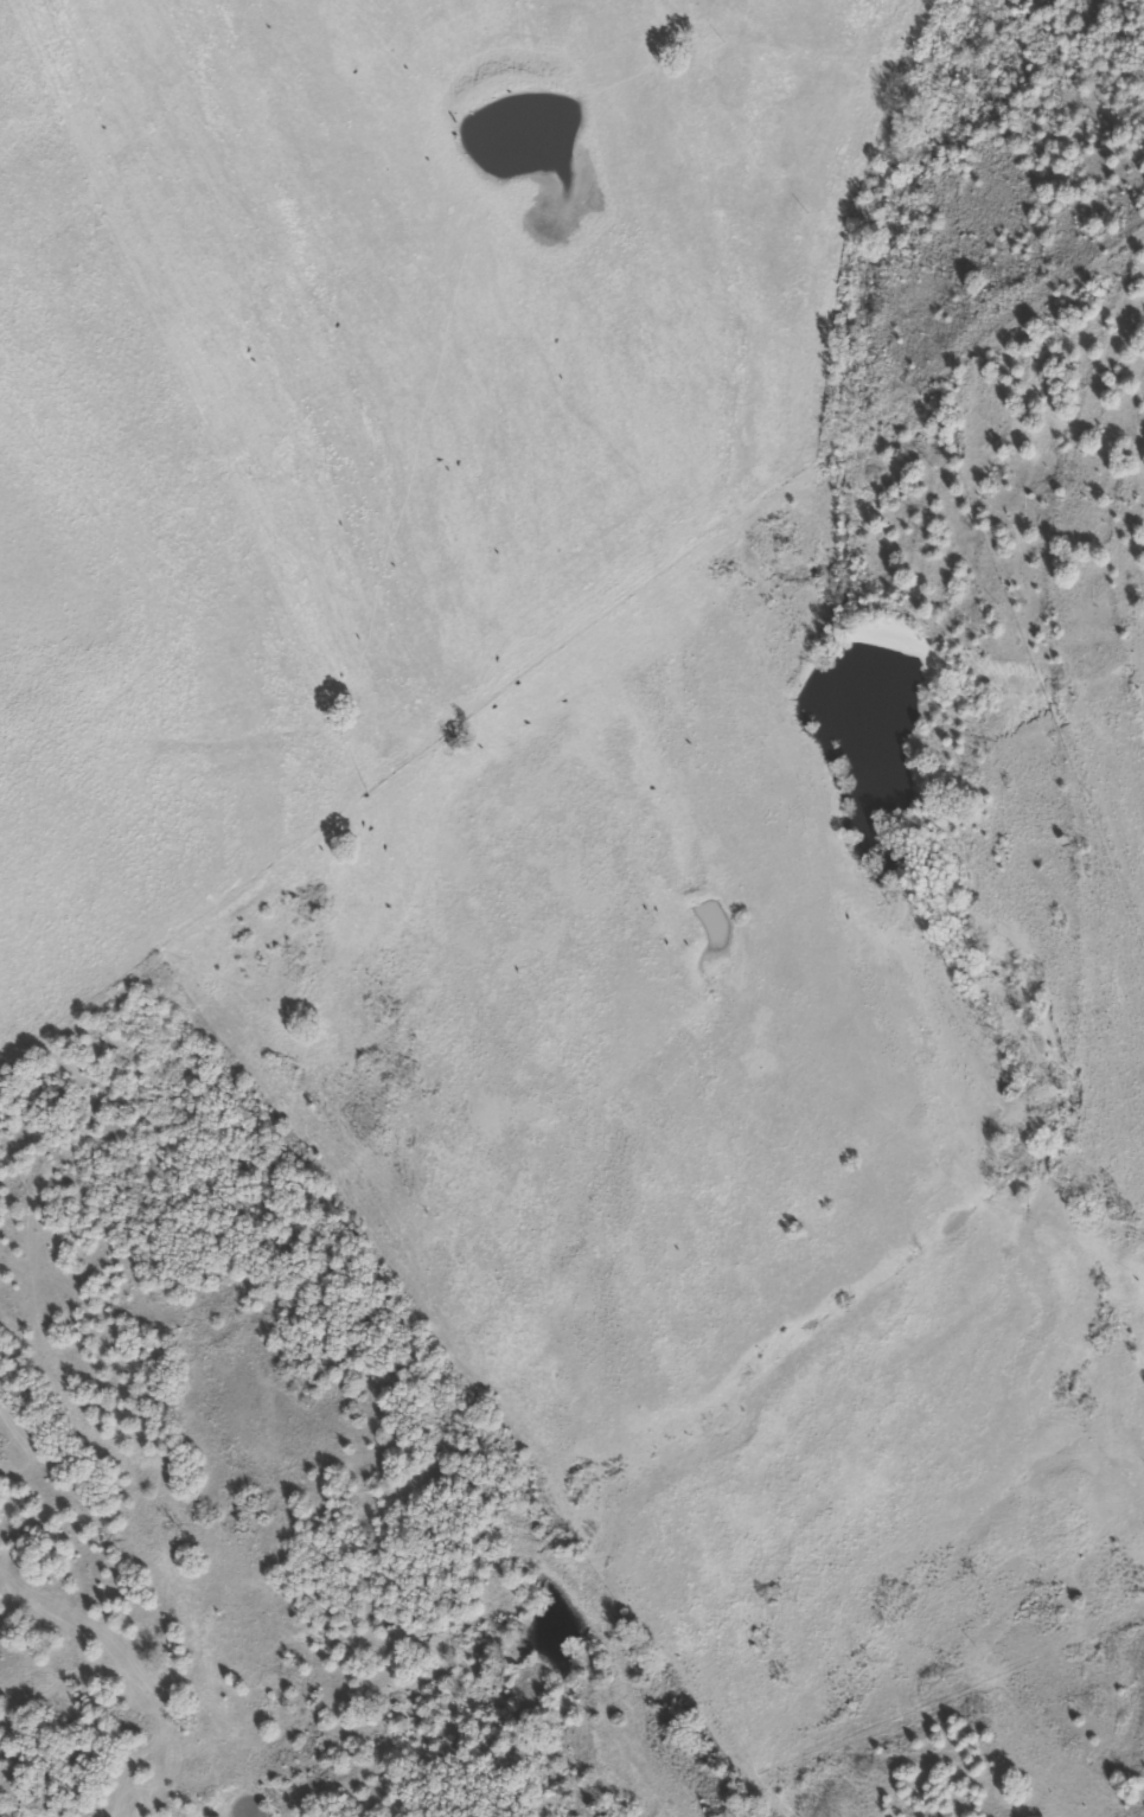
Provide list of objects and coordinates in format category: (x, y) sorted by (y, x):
road: (1142, 1)
road: (766, 132)

